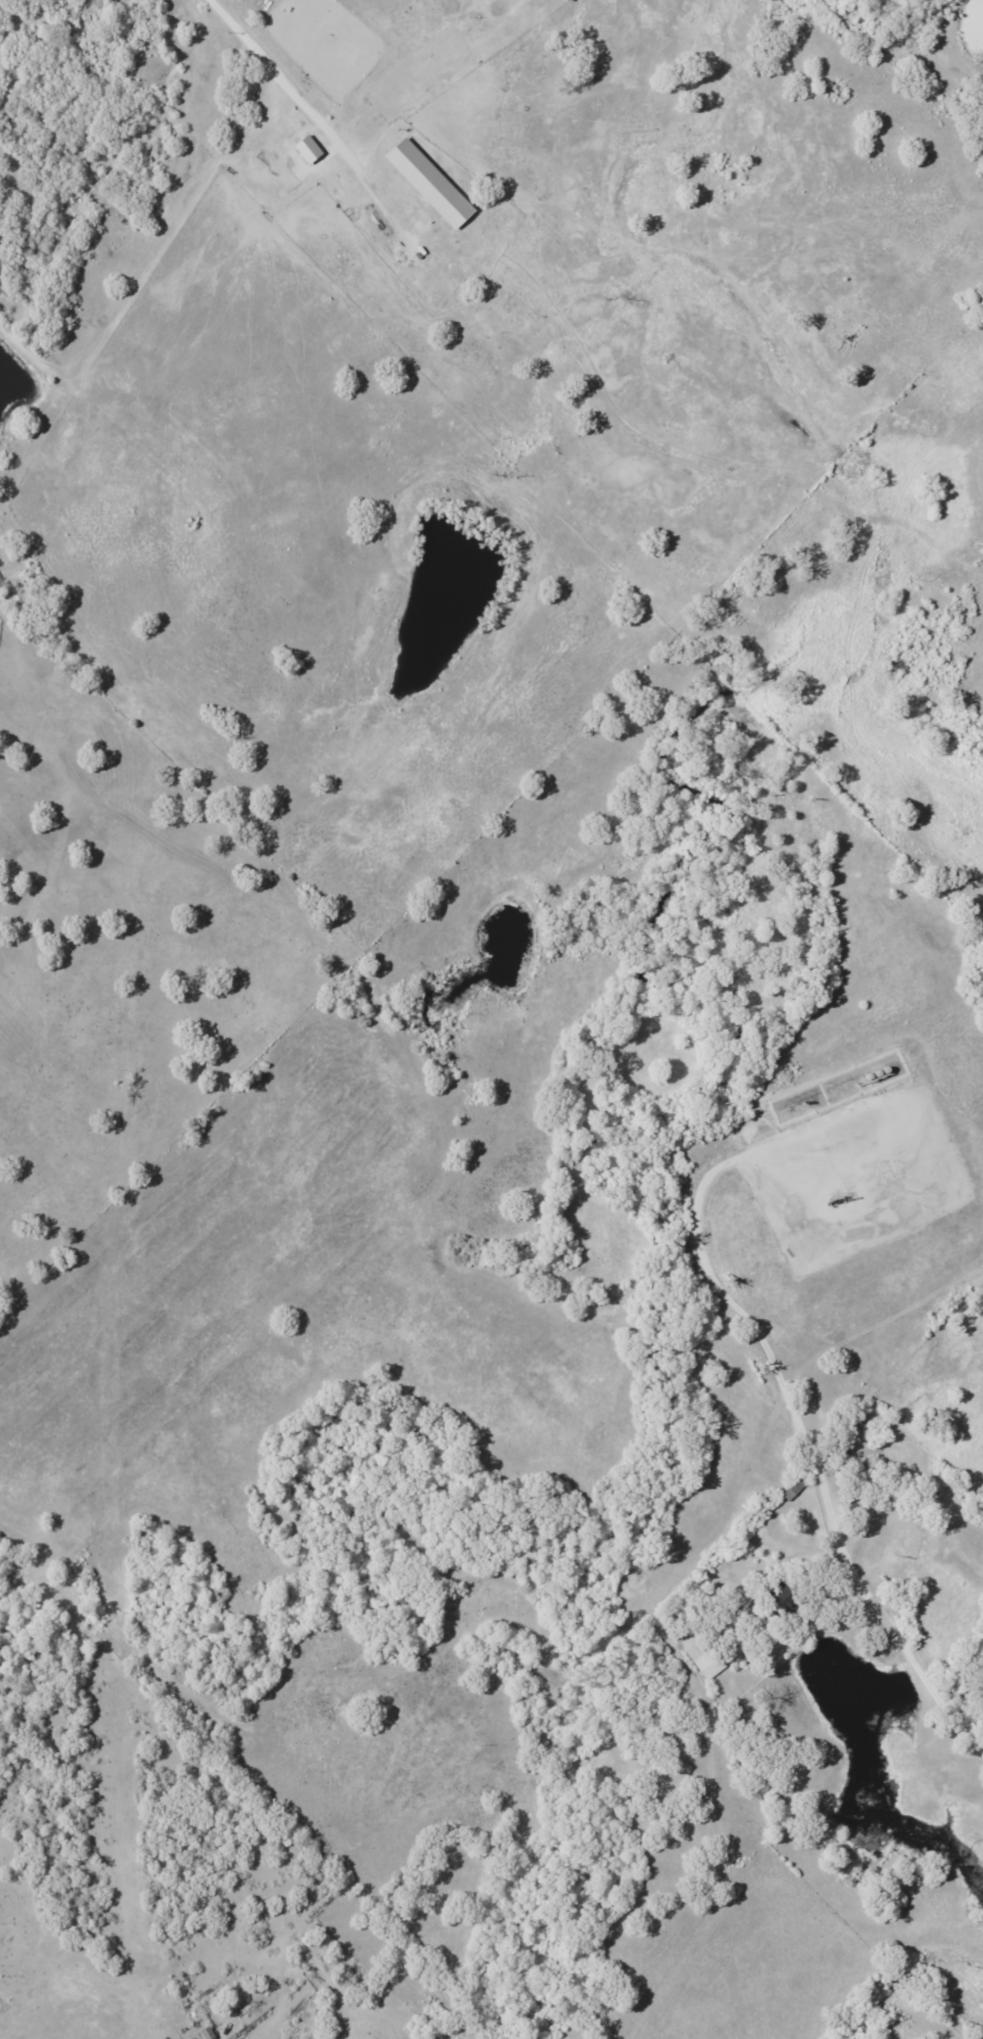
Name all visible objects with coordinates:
building: (311, 151)
building: (433, 185)
petroleum well: (837, 1201)
road: (818, 1533)

